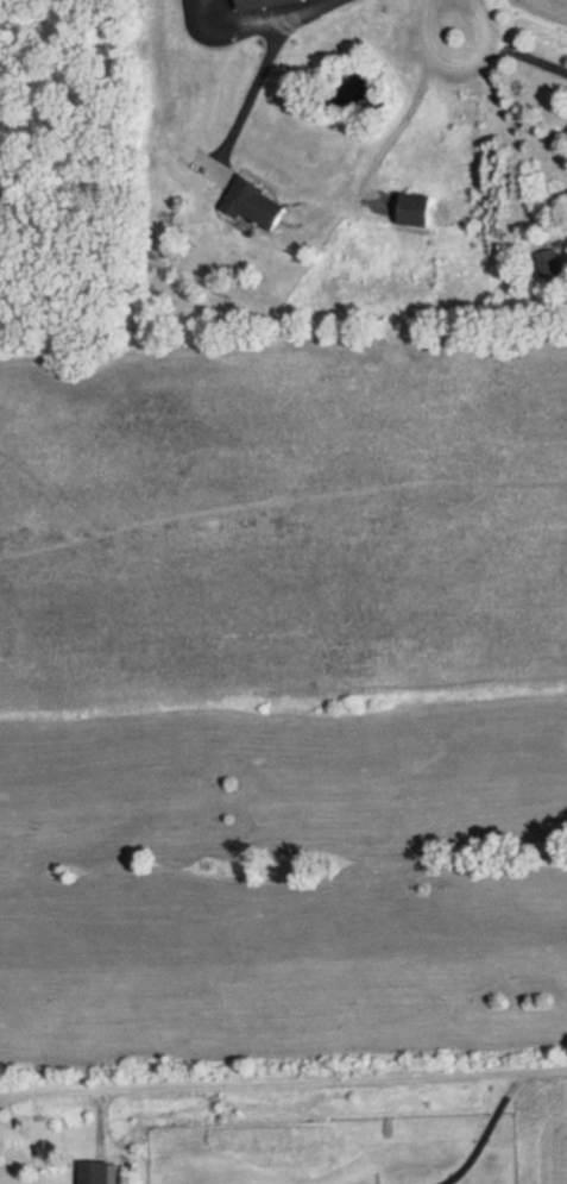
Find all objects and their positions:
building: (258, 2)
road: (461, 14)
road: (273, 42)
road: (512, 51)
road: (409, 111)
road: (256, 113)
building: (251, 206)
building: (409, 209)
building: (547, 263)
road: (550, 1072)
road: (275, 1079)
road: (8, 1092)
road: (8, 1097)
road: (490, 1129)
building: (96, 1172)

